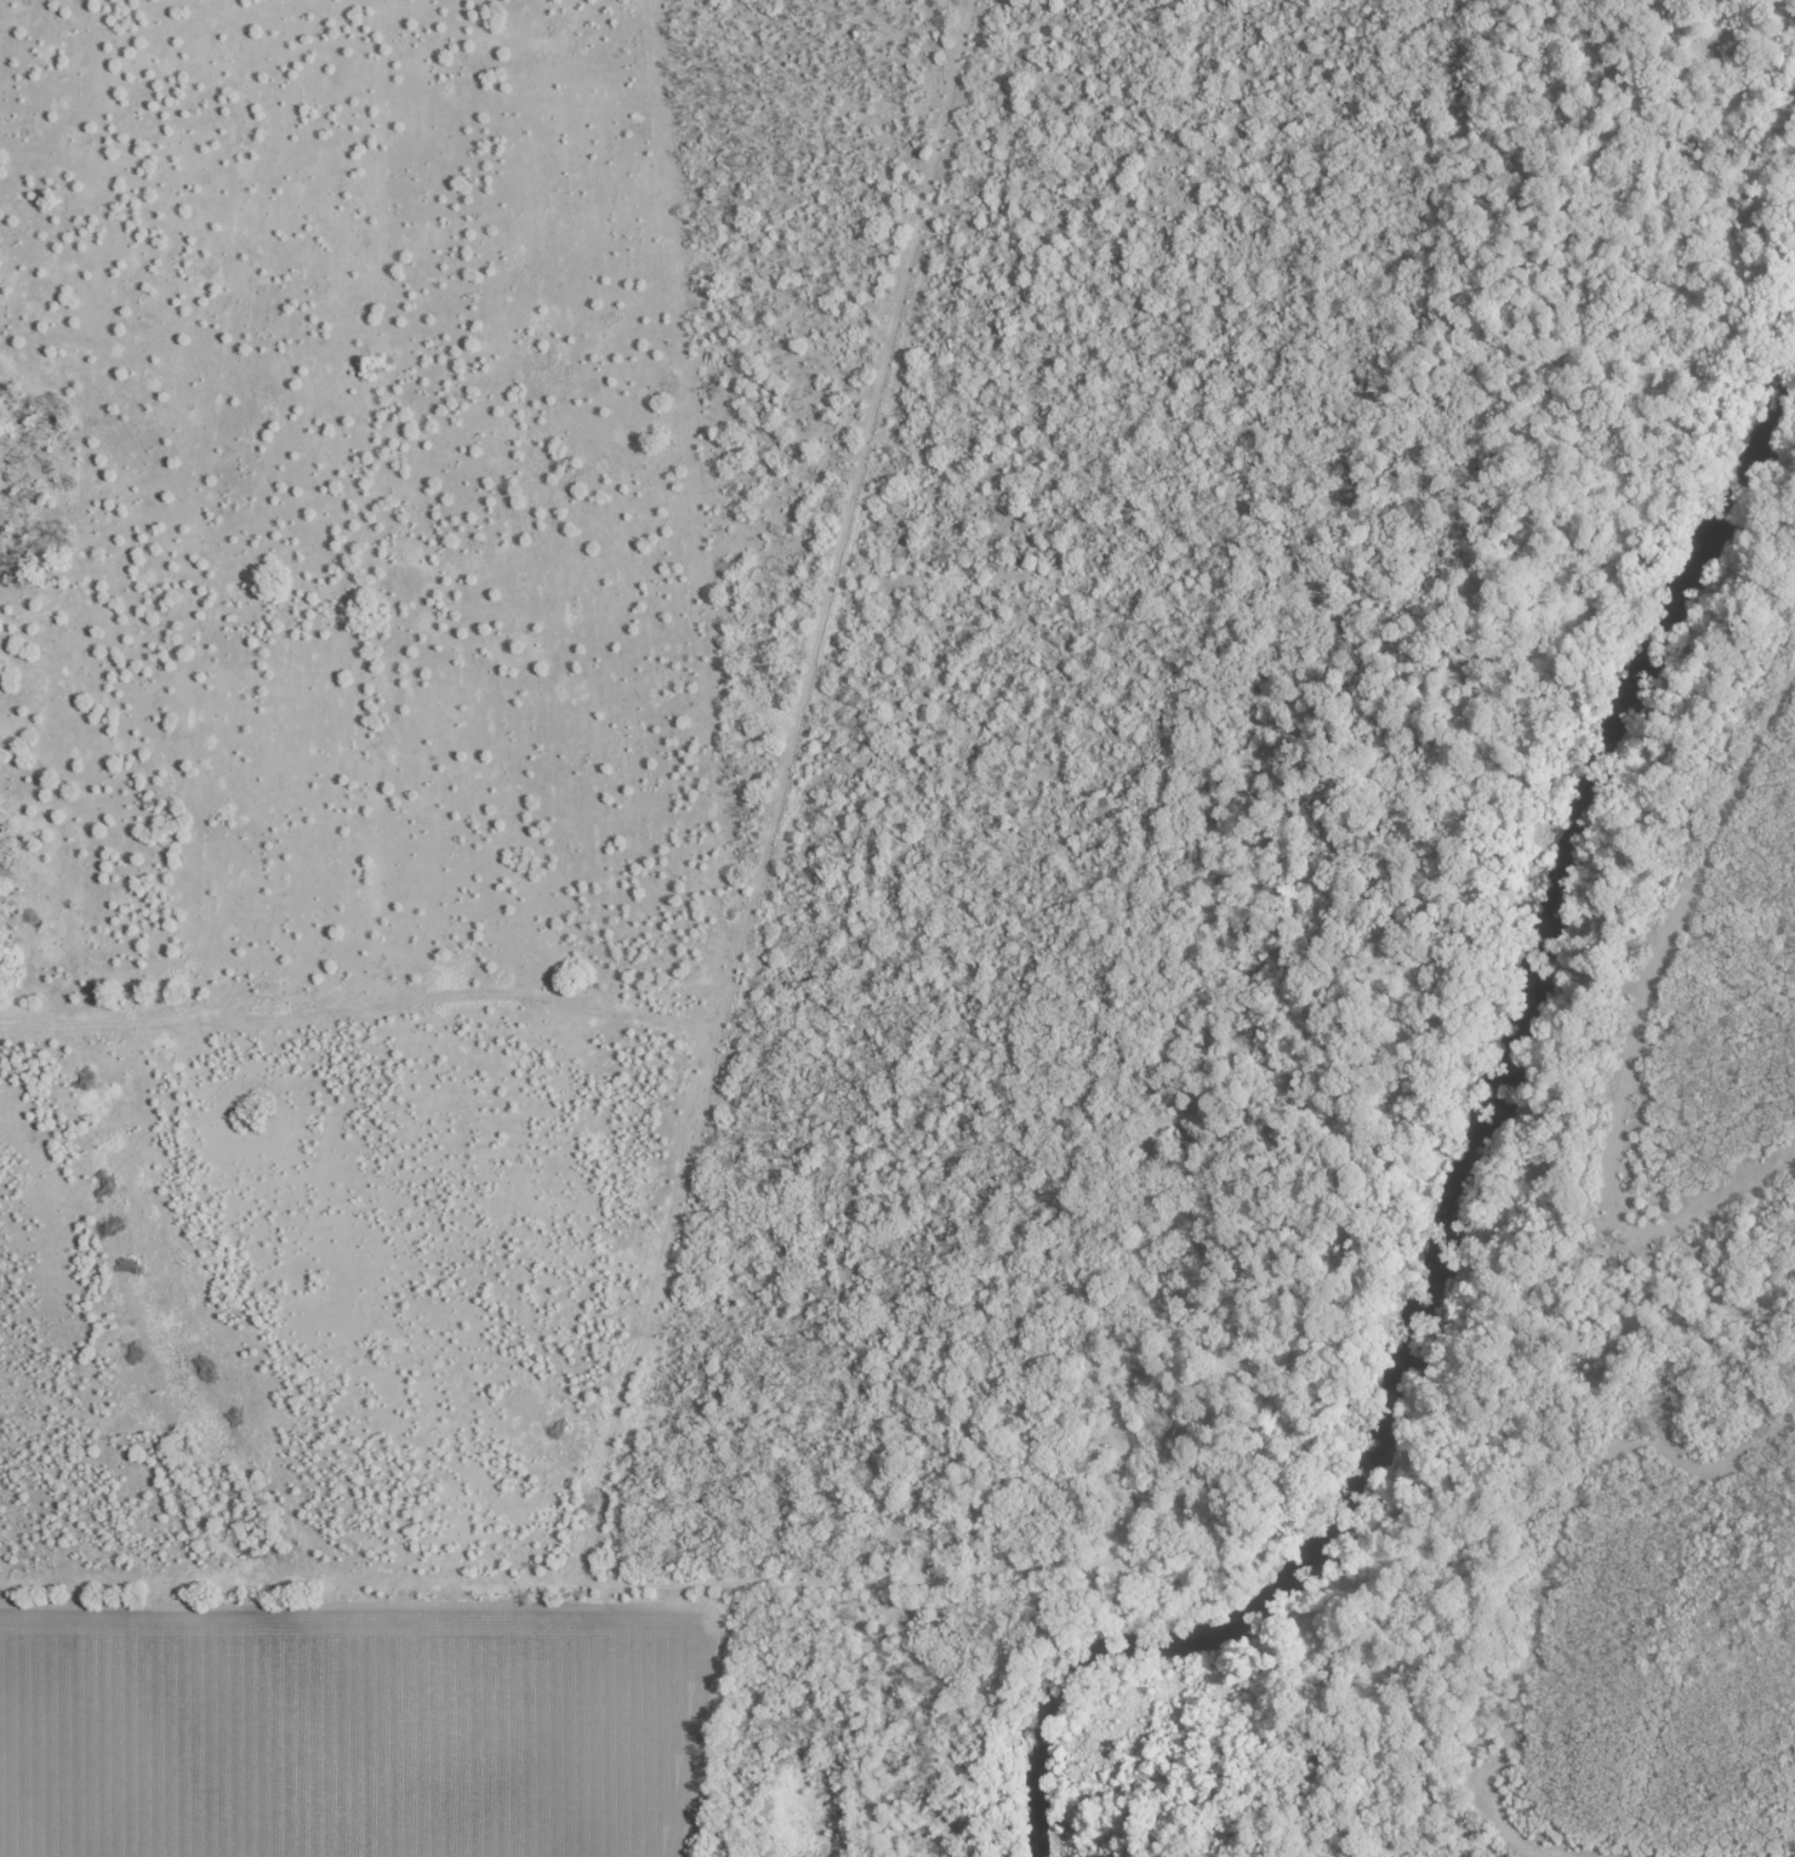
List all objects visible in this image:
river: (1483, 1151)

